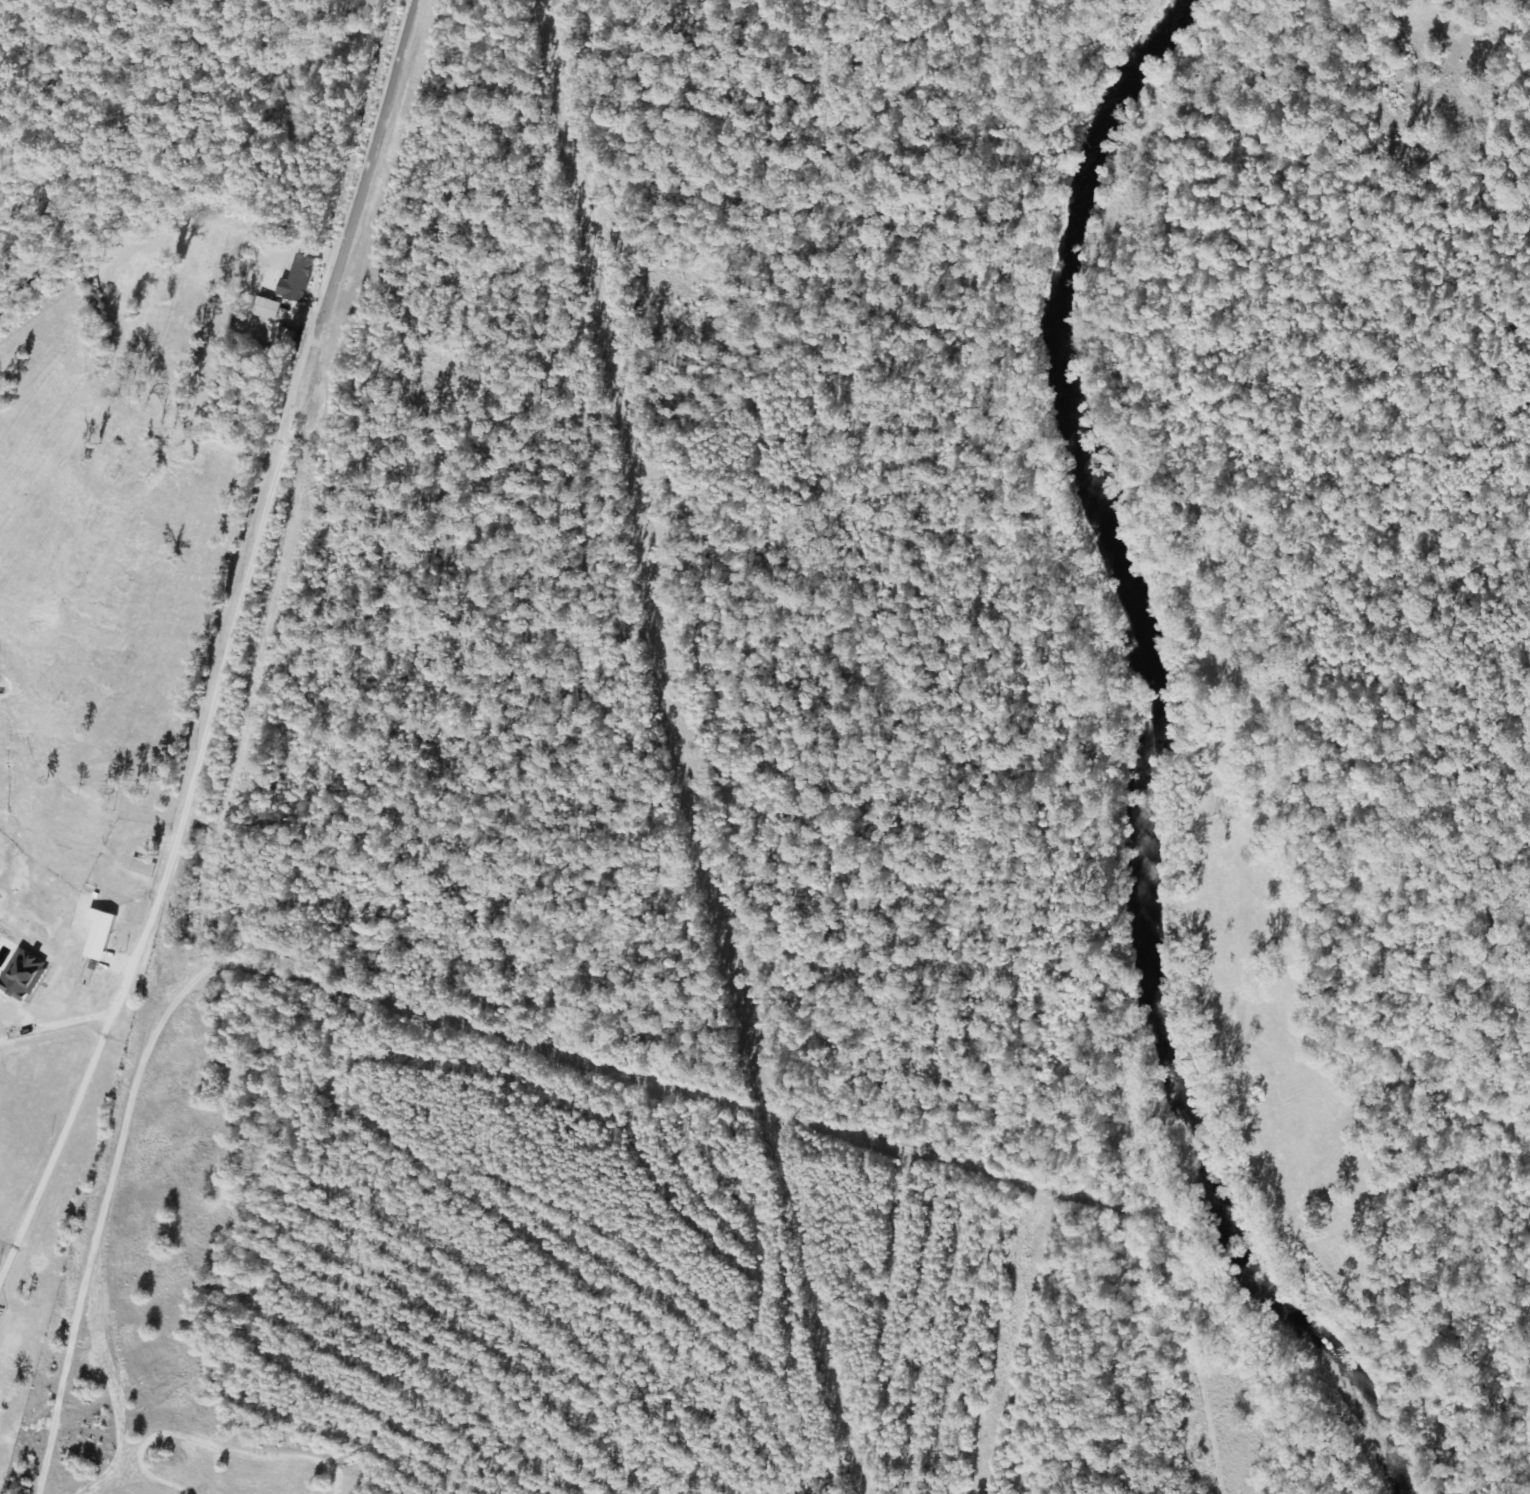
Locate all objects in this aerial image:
road: (1498, 98)
road: (1511, 203)
building: (295, 279)
building: (283, 340)
building: (137, 871)

